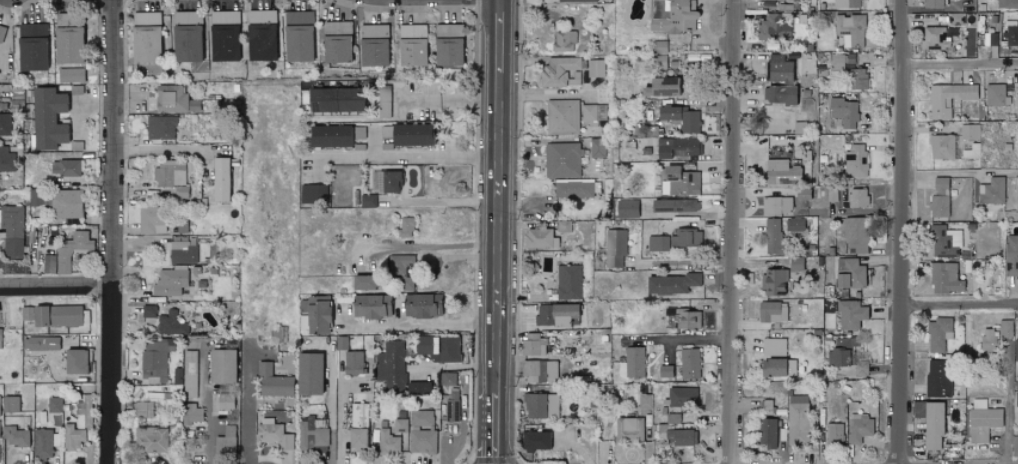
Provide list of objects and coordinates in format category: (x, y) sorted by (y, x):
building: (782, 0)
building: (932, 3)
building: (847, 4)
building: (1007, 4)
building: (674, 19)
building: (774, 27)
building: (448, 30)
building: (850, 30)
building: (2, 32)
building: (260, 35)
building: (224, 36)
building: (297, 36)
building: (1011, 36)
building: (145, 37)
road: (501, 37)
building: (936, 38)
building: (336, 41)
building: (563, 41)
building: (186, 43)
building: (67, 45)
building: (372, 45)
building: (412, 45)
building: (31, 47)
building: (447, 51)
building: (658, 62)
building: (838, 62)
road: (960, 63)
building: (596, 68)
building: (779, 69)
building: (559, 71)
building: (70, 75)
building: (574, 78)
building: (856, 79)
building: (659, 87)
building: (778, 95)
building: (996, 96)
building: (173, 98)
building: (334, 99)
building: (949, 99)
building: (384, 101)
road: (449, 102)
building: (594, 112)
building: (843, 112)
building: (47, 118)
building: (562, 118)
building: (689, 122)
building: (4, 124)
building: (161, 127)
building: (970, 131)
building: (406, 134)
building: (327, 136)
building: (356, 136)
building: (831, 141)
building: (678, 147)
building: (942, 147)
building: (597, 148)
road: (171, 149)
building: (972, 151)
road: (407, 159)
building: (6, 160)
building: (562, 160)
building: (855, 161)
building: (65, 167)
building: (170, 173)
building: (781, 173)
building: (220, 179)
building: (384, 181)
building: (414, 181)
building: (678, 182)
building: (573, 189)
building: (991, 191)
building: (180, 192)
building: (313, 194)
building: (858, 198)
building: (939, 198)
building: (368, 200)
road: (444, 202)
building: (66, 203)
building: (674, 206)
building: (776, 206)
building: (626, 209)
building: (151, 220)
building: (794, 225)
building: (563, 226)
building: (405, 227)
building: (12, 229)
road: (113, 231)
road: (900, 231)
road: (733, 232)
road: (501, 234)
building: (855, 234)
building: (773, 237)
building: (540, 238)
building: (686, 238)
building: (658, 243)
building: (942, 243)
road: (442, 245)
building: (615, 248)
building: (71, 250)
building: (1011, 256)
building: (399, 264)
building: (849, 273)
building: (944, 278)
building: (170, 282)
building: (363, 282)
building: (568, 282)
building: (776, 282)
building: (672, 284)
road: (141, 285)
road: (56, 291)
building: (421, 306)
building: (370, 307)
road: (959, 311)
building: (771, 312)
building: (314, 314)
building: (850, 314)
building: (53, 315)
building: (556, 315)
building: (169, 318)
building: (686, 320)
road: (418, 325)
building: (1006, 329)
building: (938, 334)
building: (1, 338)
road: (686, 340)
building: (987, 340)
building: (41, 343)
building: (534, 345)
building: (773, 347)
building: (437, 348)
building: (1016, 350)
building: (841, 351)
building: (154, 359)
building: (76, 361)
building: (634, 362)
building: (352, 363)
building: (689, 364)
building: (221, 366)
building: (391, 367)
building: (776, 367)
building: (618, 370)
building: (664, 371)
building: (540, 372)
building: (190, 374)
building: (307, 374)
building: (938, 378)
building: (447, 379)
building: (272, 382)
building: (419, 387)
building: (0, 396)
building: (681, 398)
building: (226, 401)
building: (645, 401)
building: (10, 404)
building: (55, 405)
building: (454, 405)
building: (541, 406)
road: (199, 409)
road: (248, 409)
road: (326, 409)
building: (142, 410)
building: (191, 414)
building: (358, 415)
building: (422, 419)
building: (798, 420)
building: (981, 421)
building: (930, 423)
building: (401, 425)
building: (0, 427)
building: (859, 428)
road: (500, 429)
building: (628, 430)
building: (766, 433)
building: (834, 433)
building: (273, 434)
building: (312, 435)
building: (16, 437)
building: (680, 437)
building: (74, 438)
building: (356, 439)
building: (151, 440)
building: (225, 441)
building: (534, 441)
building: (389, 442)
building: (423, 442)
building: (43, 444)
building: (0, 446)

